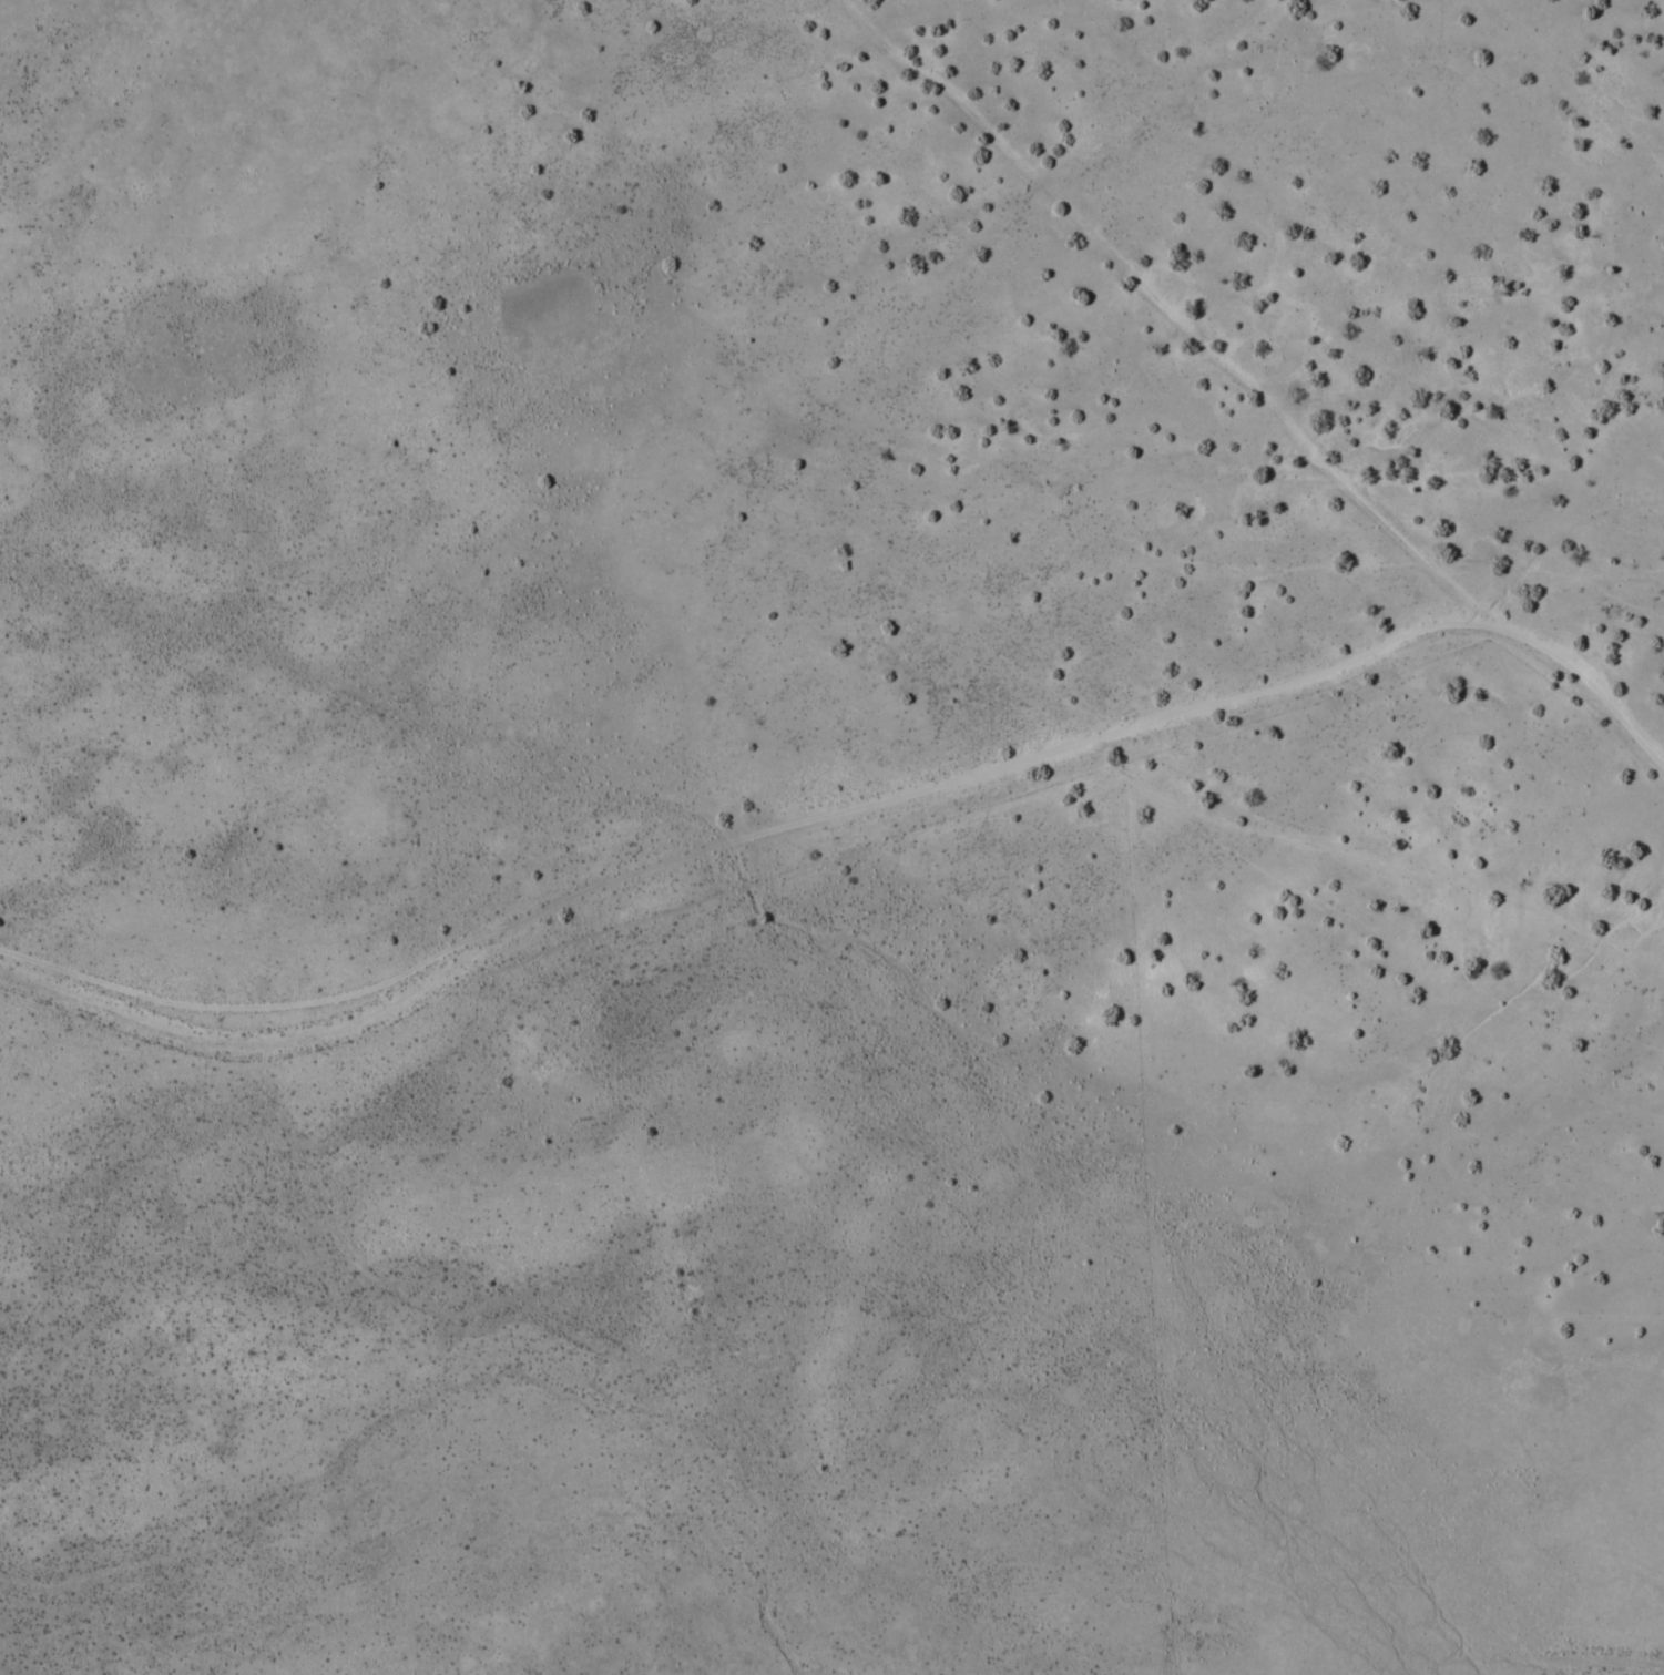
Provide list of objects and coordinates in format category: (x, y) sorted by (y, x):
road: (843, 814)

